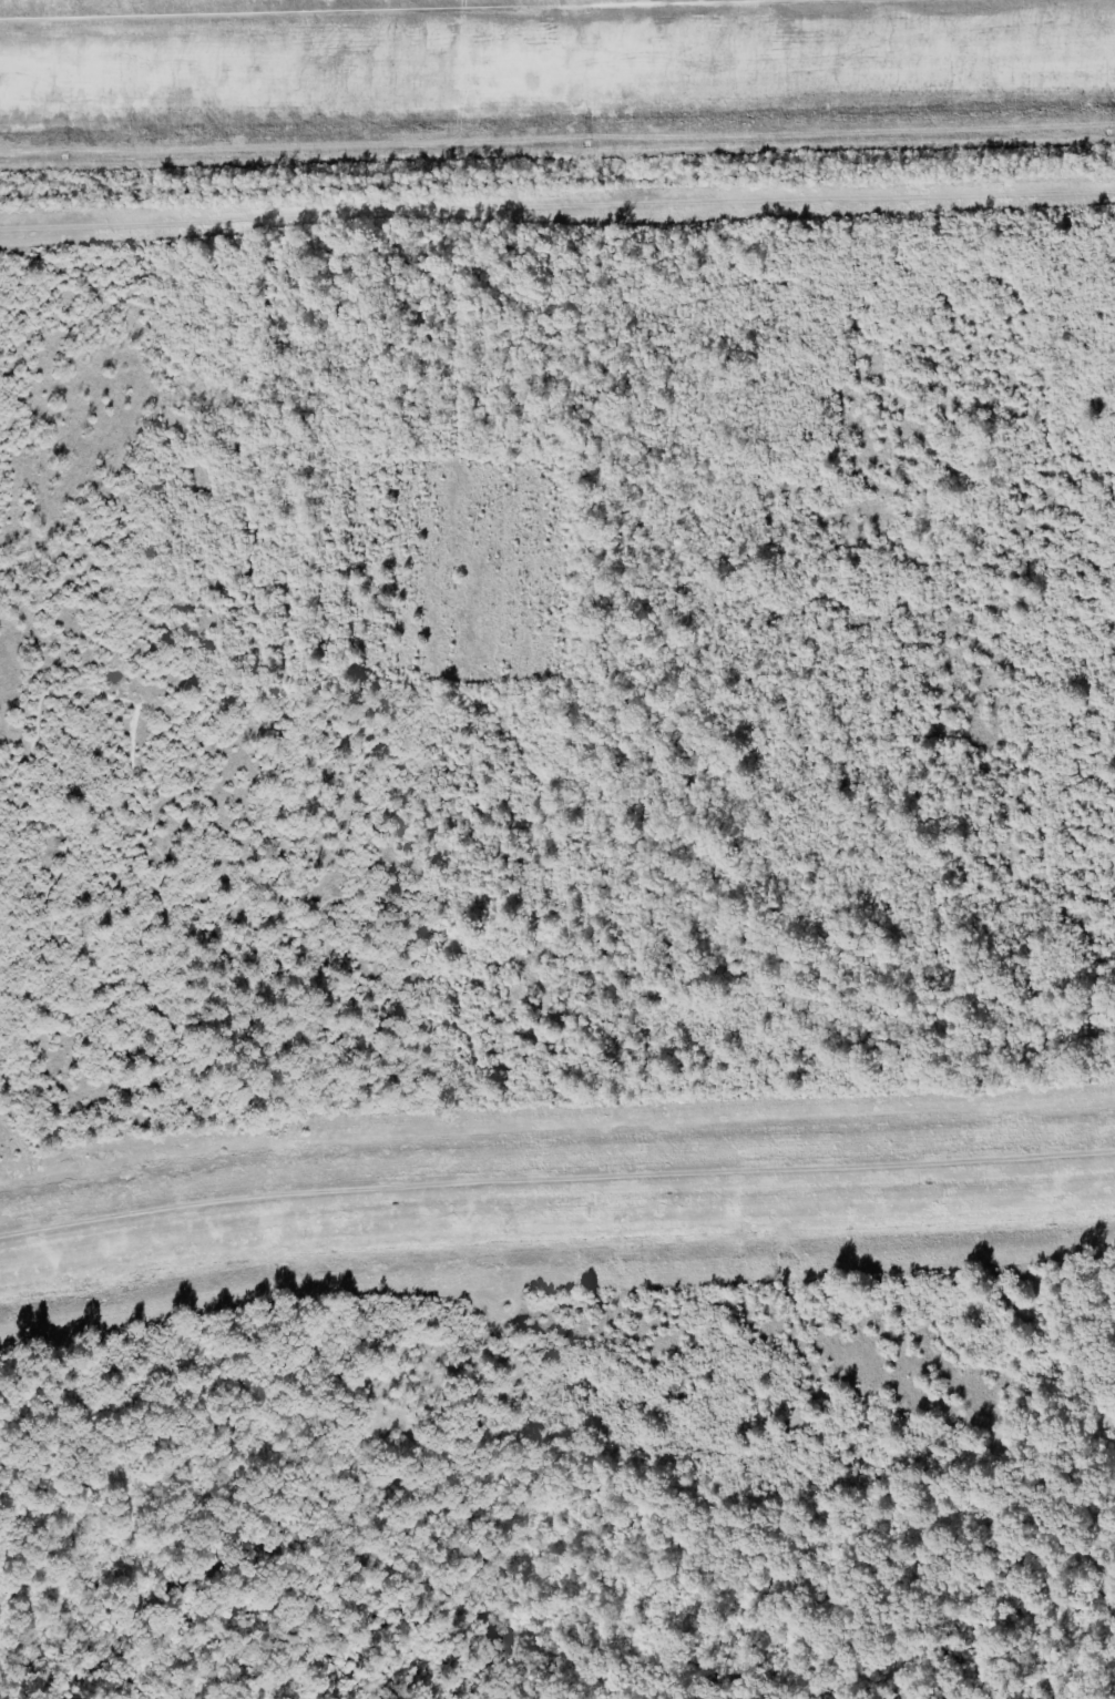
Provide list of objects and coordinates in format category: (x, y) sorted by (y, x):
road: (557, 134)

